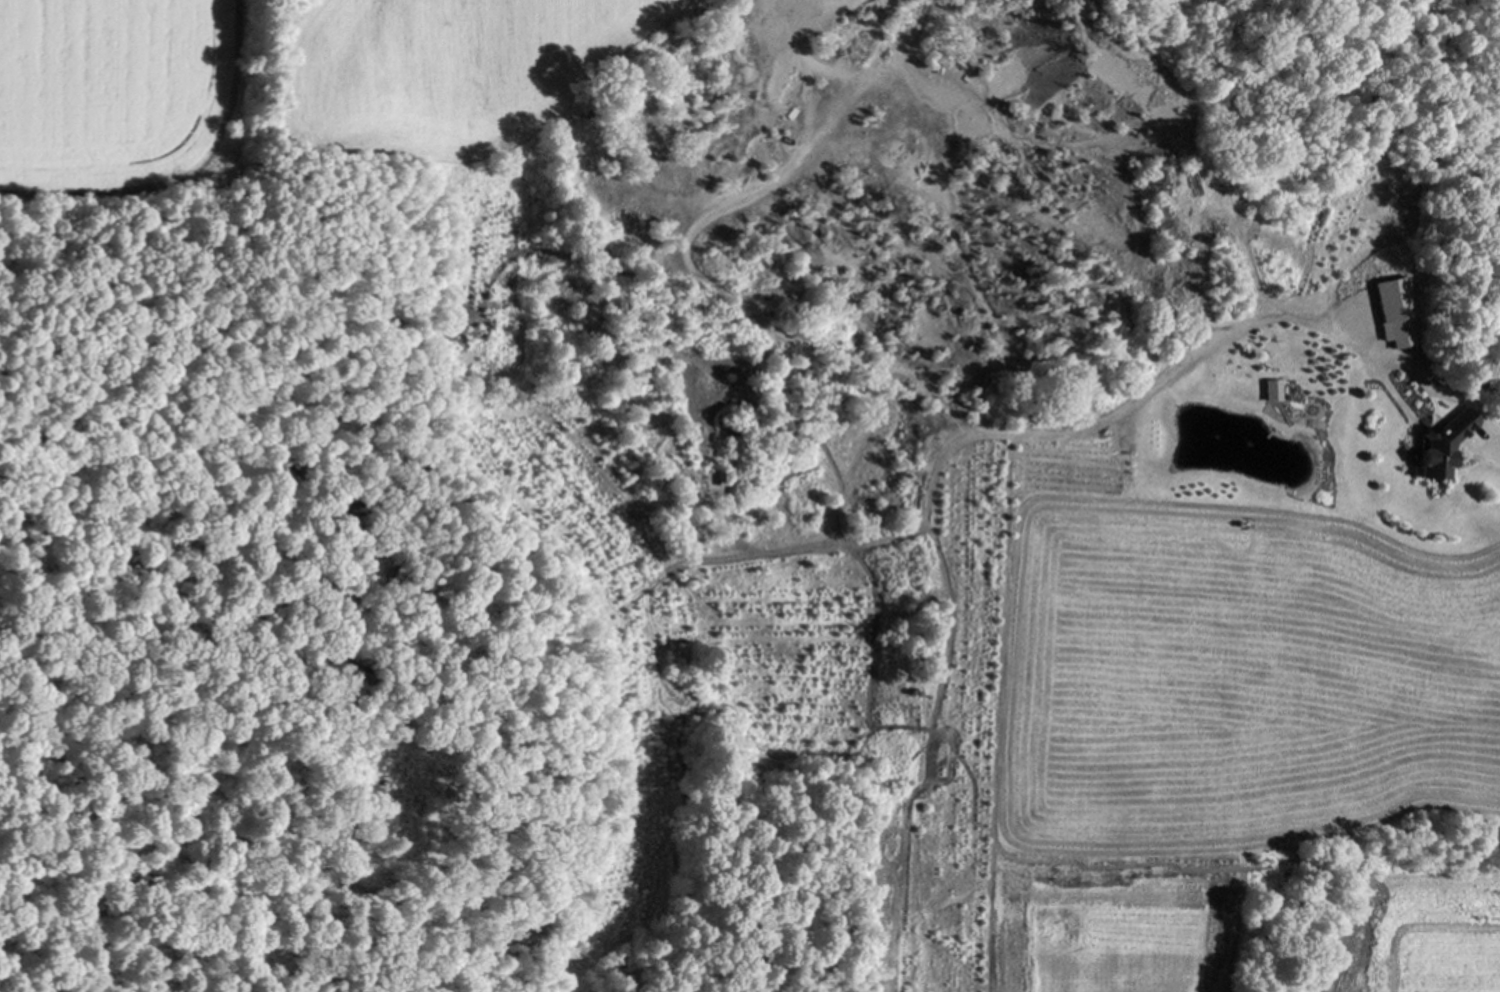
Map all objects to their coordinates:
building: (1446, 446)

